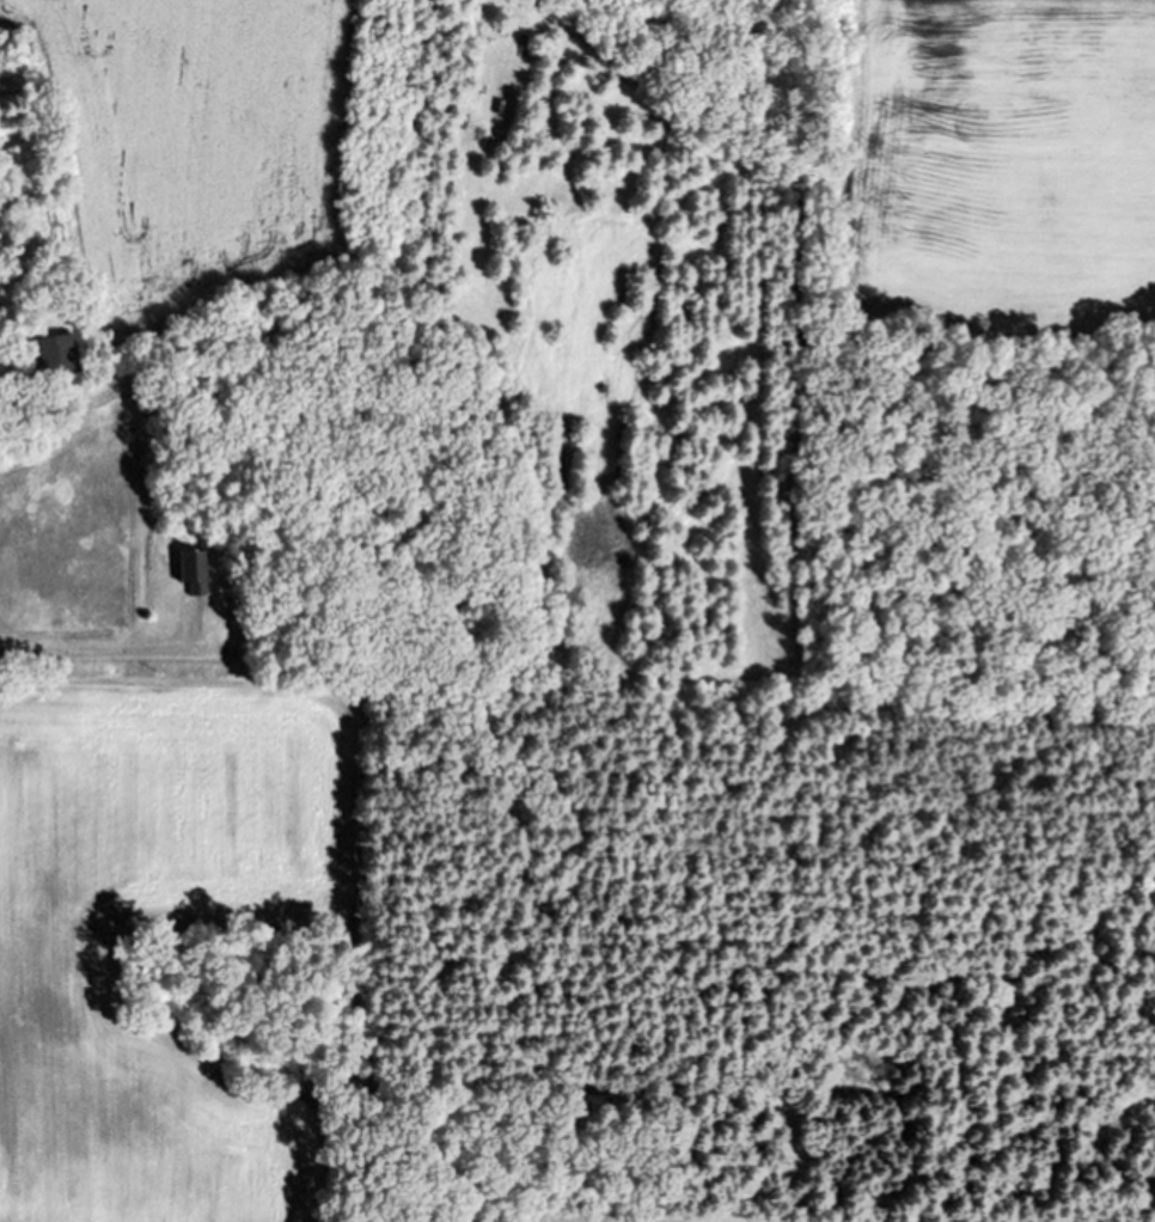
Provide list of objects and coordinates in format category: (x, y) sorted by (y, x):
building: (61, 355)
building: (196, 572)
road: (99, 649)

